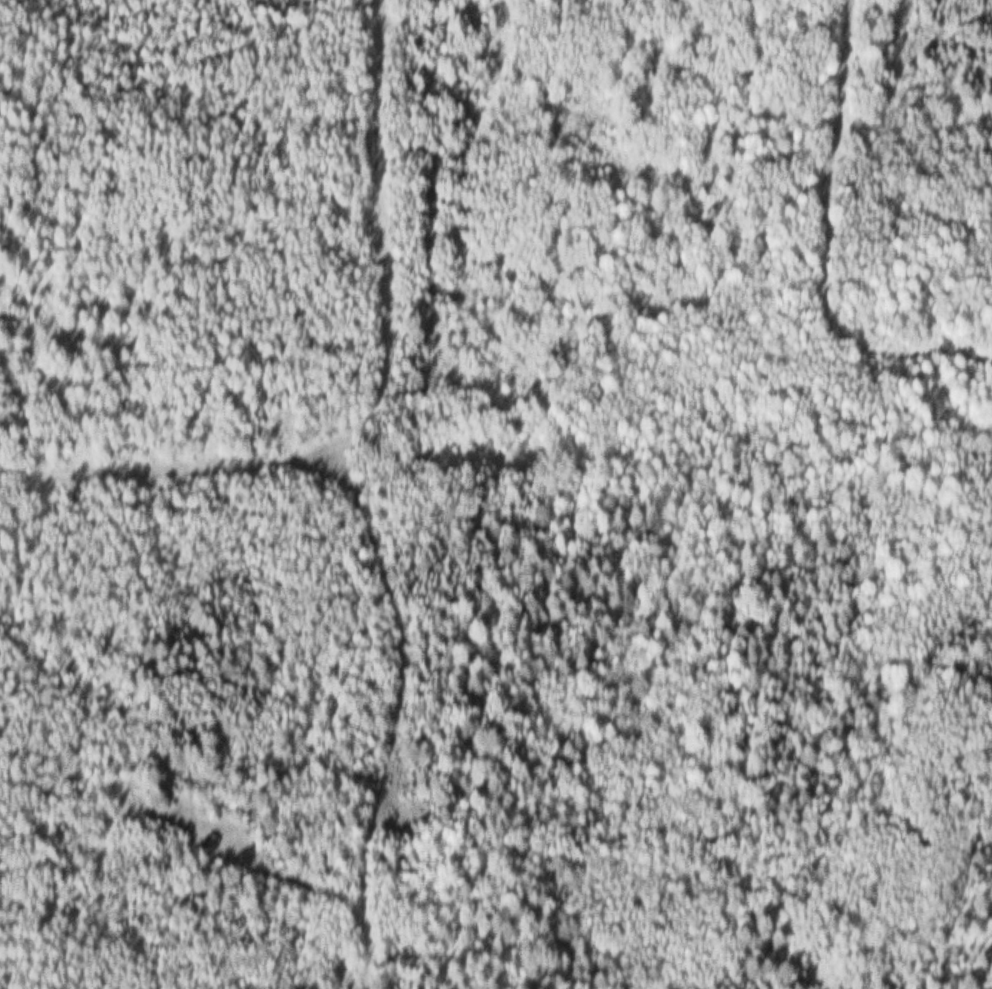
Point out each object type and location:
building: (209, 844)

